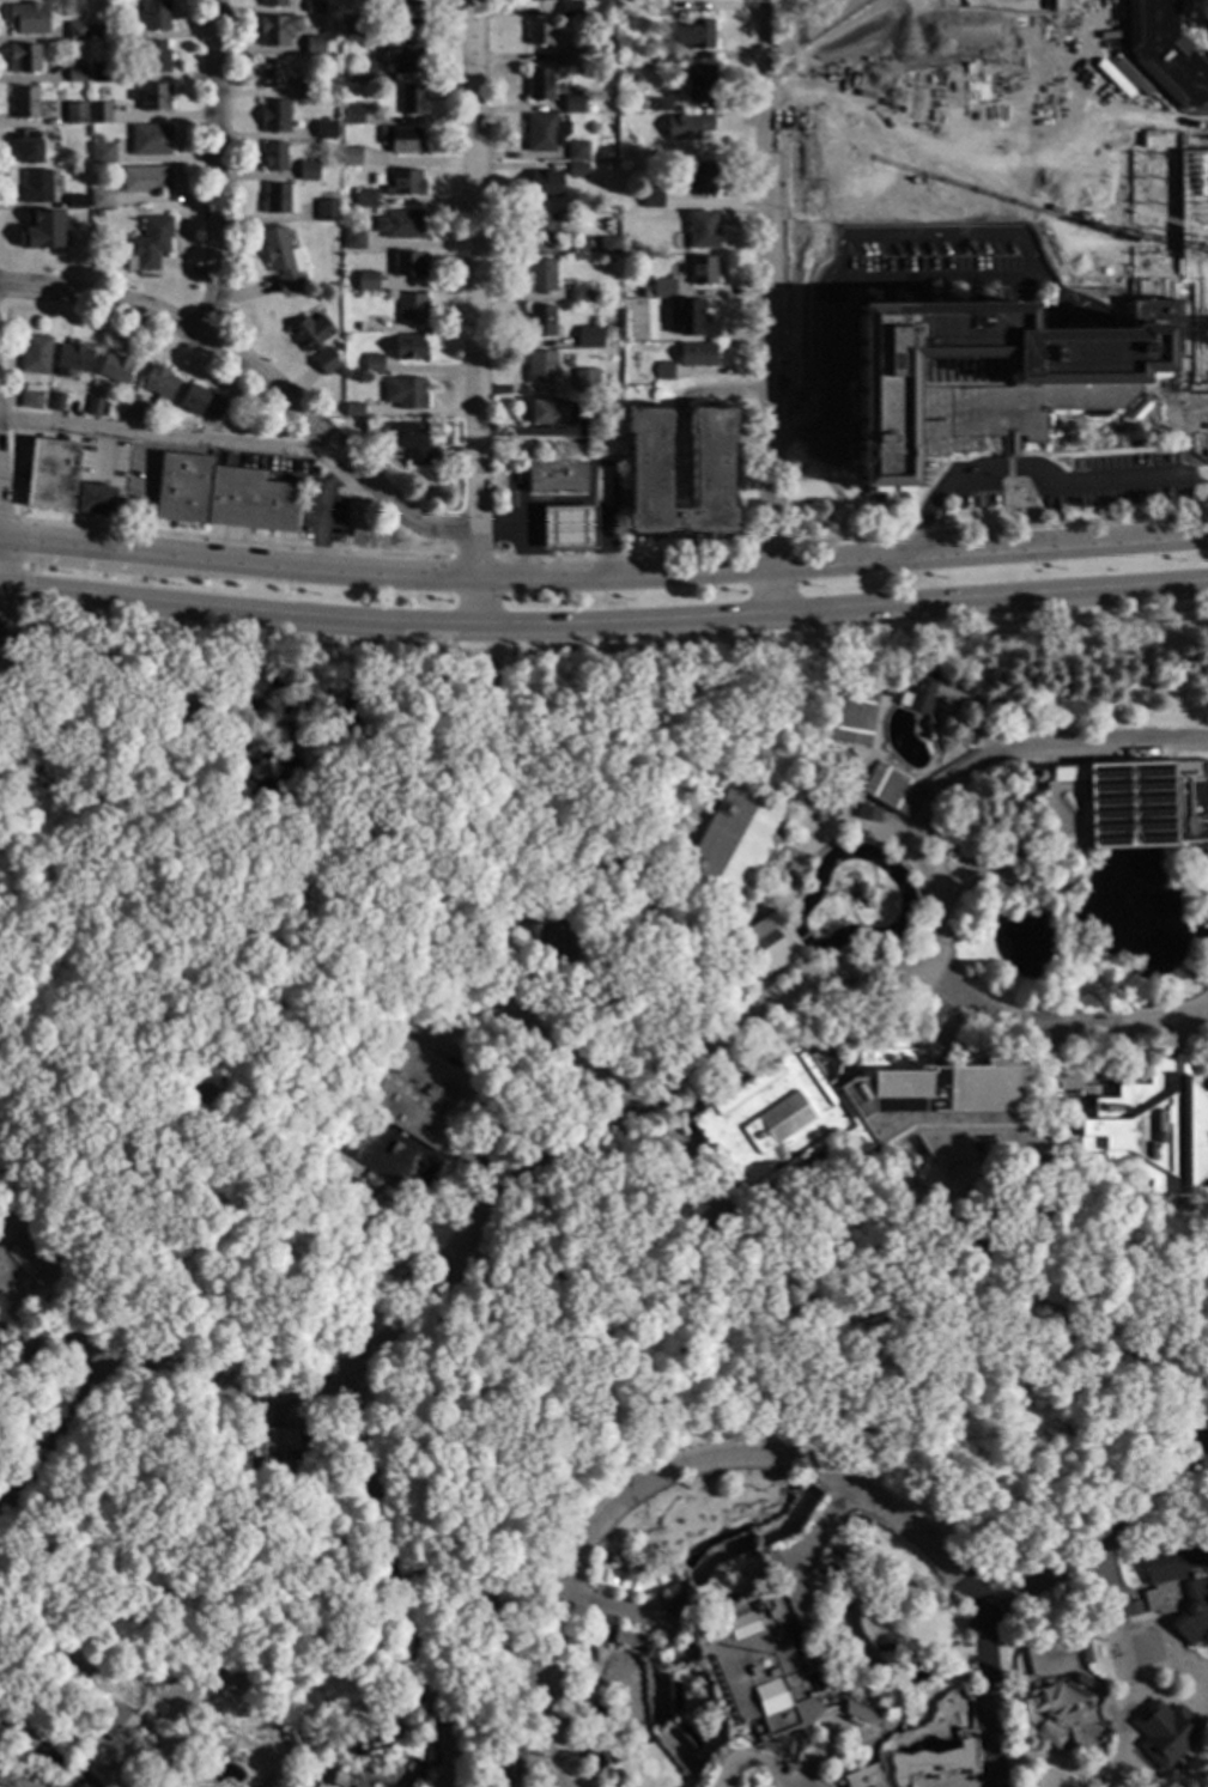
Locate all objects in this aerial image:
building: (539, 1)
building: (272, 4)
building: (655, 5)
building: (314, 6)
building: (570, 8)
building: (156, 16)
building: (28, 19)
building: (406, 19)
building: (351, 29)
road: (805, 29)
building: (277, 30)
building: (75, 31)
building: (98, 32)
building: (538, 34)
building: (694, 35)
building: (314, 47)
building: (660, 54)
building: (1165, 54)
building: (570, 56)
building: (23, 59)
building: (151, 59)
building: (409, 59)
building: (984, 72)
building: (99, 73)
building: (271, 74)
building: (365, 75)
building: (77, 77)
building: (700, 84)
building: (539, 85)
building: (309, 89)
building: (323, 91)
building: (153, 98)
building: (411, 101)
building: (25, 103)
building: (12, 104)
building: (572, 105)
building: (661, 105)
building: (75, 114)
building: (99, 114)
building: (351, 115)
building: (273, 117)
building: (687, 127)
building: (324, 130)
building: (542, 133)
building: (1122, 134)
building: (150, 140)
building: (401, 141)
building: (29, 147)
building: (576, 152)
building: (102, 154)
building: (273, 157)
building: (351, 157)
road: (214, 168)
building: (577, 170)
building: (306, 171)
building: (700, 180)
building: (145, 181)
building: (403, 183)
building: (545, 184)
building: (36, 188)
building: (333, 195)
building: (99, 199)
building: (280, 199)
building: (365, 199)
building: (651, 199)
building: (77, 202)
building: (326, 211)
building: (97, 214)
building: (400, 225)
road: (1022, 227)
building: (37, 230)
building: (540, 230)
building: (700, 230)
building: (77, 232)
building: (353, 239)
building: (148, 244)
building: (608, 245)
building: (280, 260)
building: (407, 266)
building: (702, 271)
building: (540, 276)
building: (366, 282)
building: (334, 287)
building: (662, 288)
building: (578, 294)
road: (769, 308)
building: (411, 310)
road: (474, 315)
building: (691, 318)
building: (540, 322)
building: (360, 328)
building: (589, 338)
building: (312, 339)
building: (1036, 346)
building: (408, 348)
building: (35, 355)
building: (696, 355)
road: (830, 357)
building: (74, 358)
building: (320, 364)
building: (372, 365)
building: (540, 367)
building: (115, 369)
building: (663, 371)
road: (256, 375)
building: (585, 378)
building: (158, 384)
building: (348, 384)
building: (405, 394)
building: (30, 397)
building: (56, 402)
building: (201, 403)
building: (93, 407)
building: (134, 409)
building: (352, 411)
building: (547, 412)
building: (363, 427)
building: (594, 428)
road: (165, 436)
building: (409, 443)
road: (1201, 446)
building: (679, 470)
building: (51, 475)
road: (1033, 475)
building: (556, 476)
building: (221, 496)
building: (93, 499)
road: (594, 502)
road: (6, 517)
building: (567, 528)
road: (997, 528)
road: (527, 529)
road: (230, 541)
road: (766, 546)
road: (619, 554)
road: (471, 558)
road: (29, 567)
road: (603, 576)
road: (850, 610)
road: (245, 612)
road: (603, 651)
building: (984, 676)
building: (918, 692)
building: (886, 694)
road: (1006, 712)
road: (1033, 753)
road: (820, 761)
building: (1027, 770)
building: (1127, 806)
building: (867, 813)
building: (826, 815)
building: (936, 827)
road: (1021, 827)
road: (876, 837)
building: (733, 847)
road: (791, 850)
road: (1192, 869)
road: (1014, 883)
road: (494, 899)
road: (515, 920)
building: (556, 944)
building: (764, 946)
road: (462, 1017)
road: (954, 1026)
road: (840, 1029)
road: (1178, 1034)
building: (369, 1065)
road: (1055, 1082)
building: (951, 1122)
building: (407, 1123)
road: (627, 1145)
road: (472, 1147)
road: (551, 1160)
road: (675, 1163)
building: (384, 1191)
road: (1184, 1229)
road: (377, 1245)
building: (26, 1264)
road: (81, 1336)
road: (41, 1349)
road: (277, 1411)
railway: (1197, 1421)
railway: (607, 1437)
building: (273, 1449)
road: (758, 1461)
road: (1104, 1542)
road: (808, 1545)
building: (770, 1560)
road: (391, 1586)
building: (1178, 1586)
building: (473, 1595)
road: (1115, 1604)
building: (486, 1611)
building: (1118, 1611)
road: (635, 1616)
road: (490, 1647)
building: (872, 1648)
building: (1057, 1654)
building: (760, 1659)
road: (1118, 1661)
building: (1083, 1679)
road: (1164, 1698)
building: (858, 1713)
road: (836, 1719)
building: (115, 1721)
road: (372, 1722)
building: (1165, 1732)
road: (849, 1734)
building: (298, 1740)
road: (40, 1742)
building: (620, 1749)
road: (820, 1758)
building: (374, 1759)
road: (751, 1759)
building: (508, 1763)
road: (933, 1763)
building: (927, 1764)
road: (1052, 1764)
building: (31, 1768)
building: (862, 1777)
road: (807, 1783)
road: (985, 1785)

